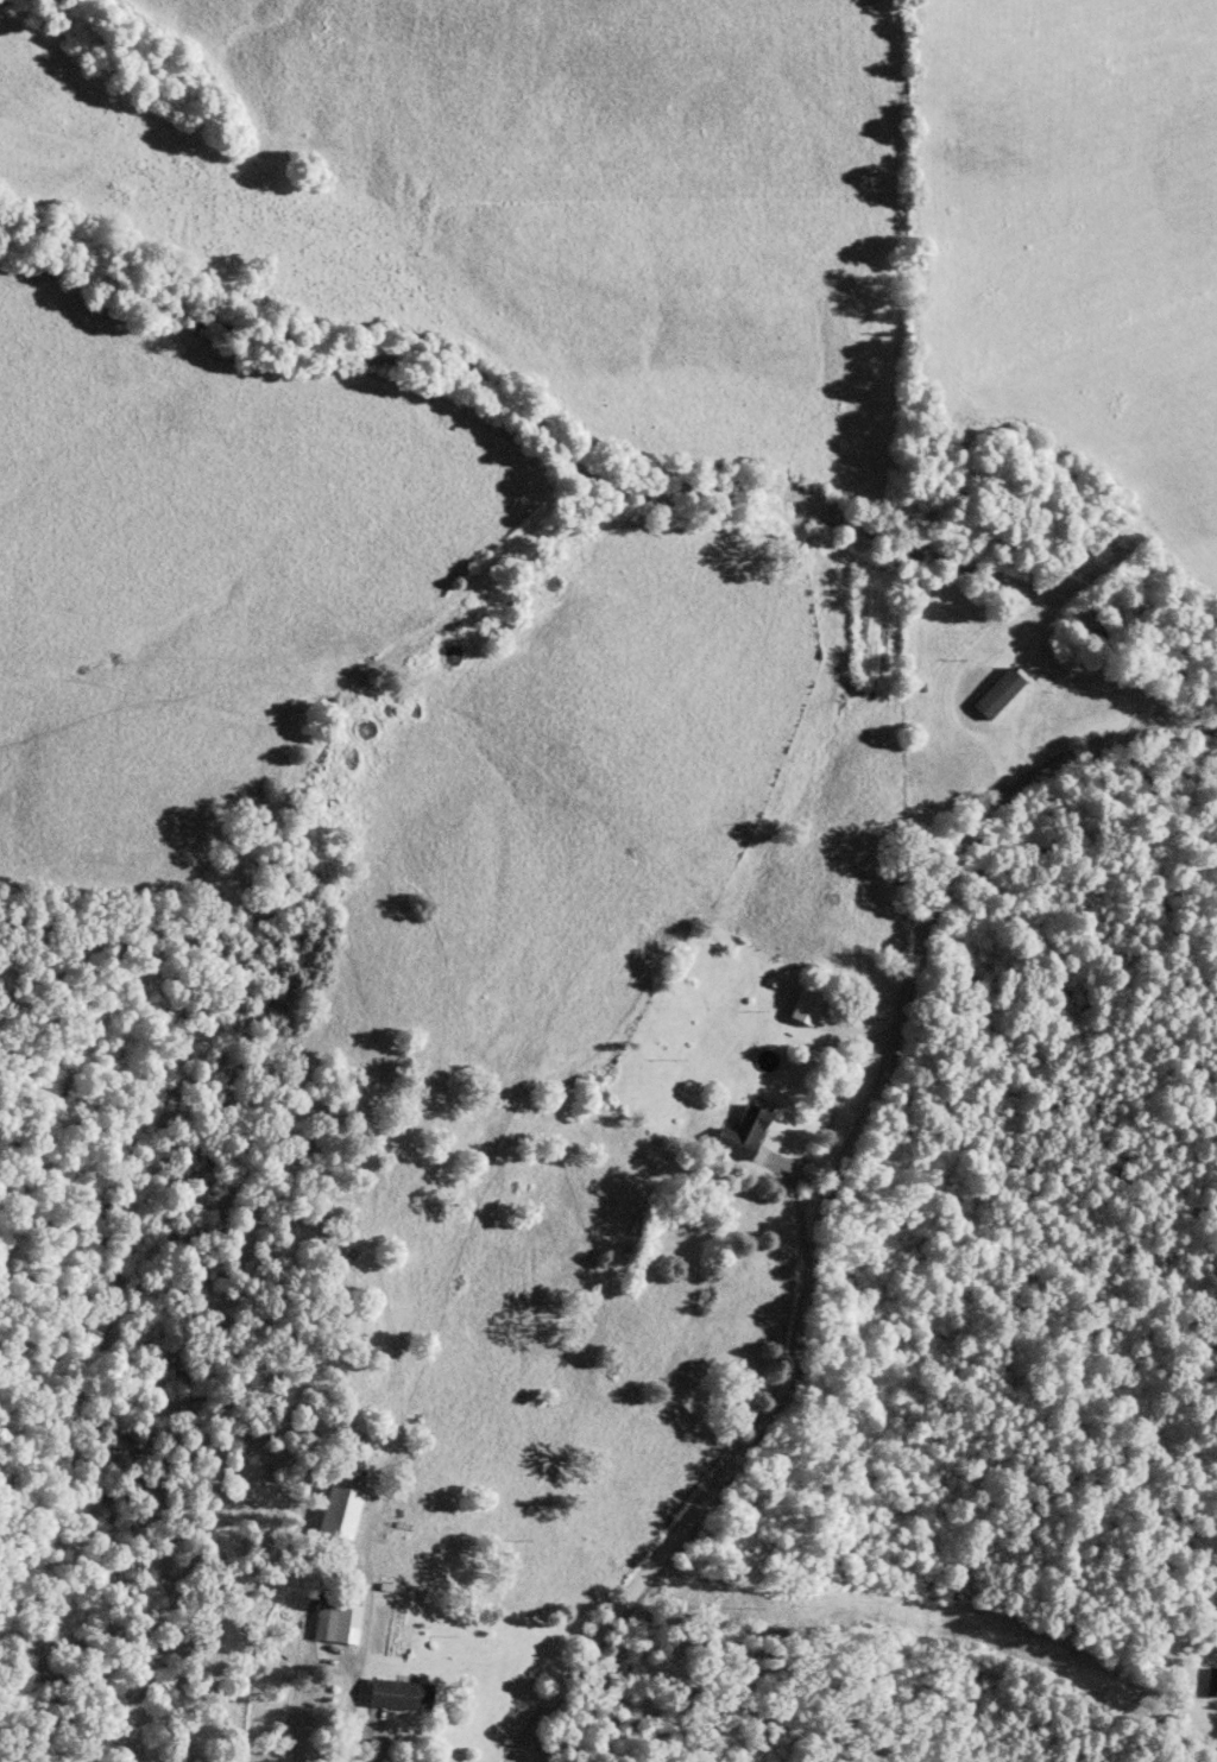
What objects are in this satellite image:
building: (802, 1010)
building: (737, 1135)
road: (825, 1188)
building: (341, 1508)
building: (339, 1623)
building: (392, 1695)

